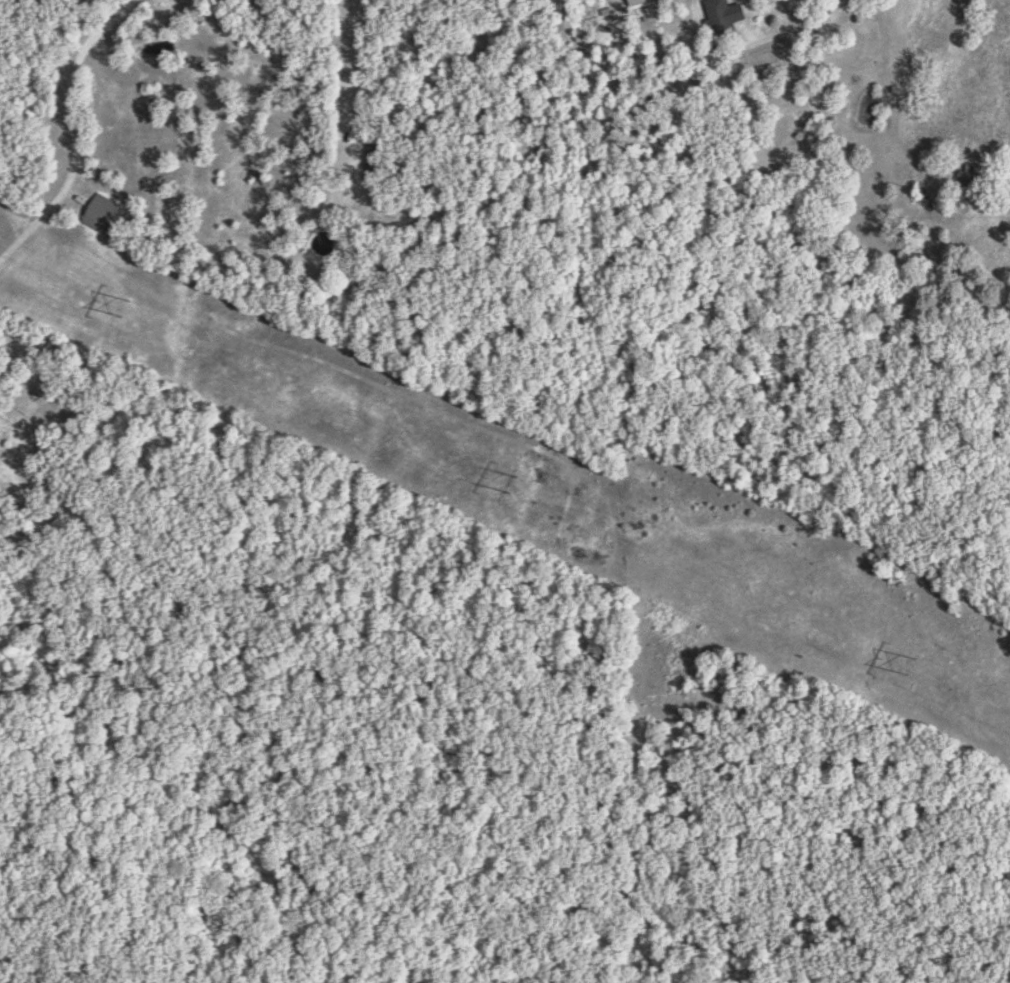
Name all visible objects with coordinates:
building: (639, 1)
road: (759, 9)
building: (653, 12)
building: (728, 15)
road: (73, 132)
building: (104, 211)
road: (13, 221)
power tower: (123, 307)
power tower: (511, 487)
power tower: (908, 669)

